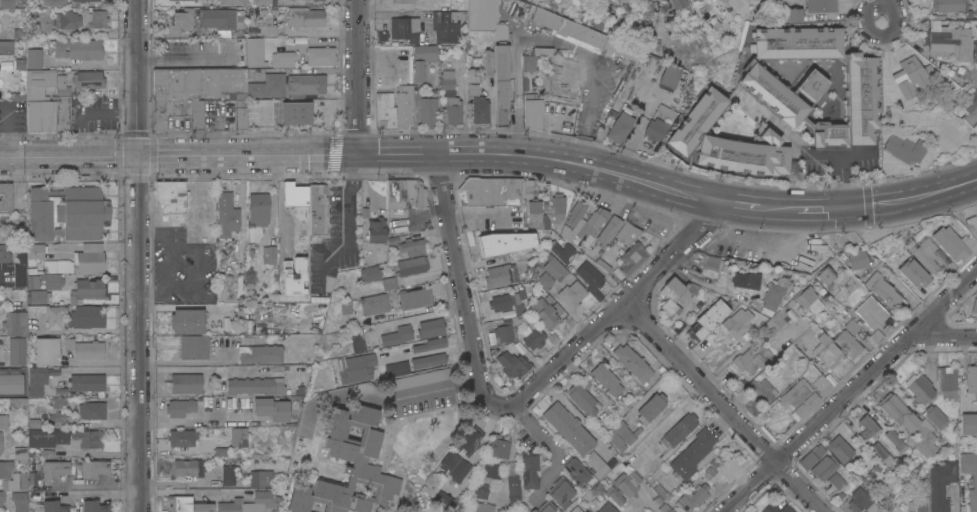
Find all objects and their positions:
building: (83, 0)
building: (188, 0)
building: (692, 0)
building: (402, 1)
building: (430, 1)
building: (627, 1)
building: (50, 2)
building: (231, 2)
building: (264, 2)
building: (9, 3)
building: (599, 3)
building: (679, 3)
building: (821, 5)
building: (945, 5)
road: (881, 10)
building: (975, 10)
road: (391, 13)
building: (795, 15)
building: (305, 17)
building: (485, 17)
building: (98, 18)
building: (218, 18)
building: (66, 20)
building: (181, 20)
building: (445, 26)
building: (568, 27)
building: (405, 28)
road: (86, 32)
building: (947, 41)
building: (796, 42)
building: (6, 47)
building: (78, 49)
building: (915, 49)
building: (257, 52)
road: (184, 56)
building: (321, 56)
building: (535, 57)
building: (34, 58)
building: (283, 59)
building: (422, 59)
building: (489, 61)
building: (19, 63)
building: (908, 74)
building: (473, 75)
building: (669, 76)
road: (137, 78)
road: (359, 78)
building: (89, 79)
building: (447, 79)
building: (544, 80)
building: (501, 82)
building: (198, 83)
building: (306, 84)
building: (528, 84)
building: (809, 84)
building: (268, 86)
building: (770, 94)
building: (18, 96)
building: (618, 98)
building: (47, 103)
building: (403, 105)
building: (478, 105)
road: (885, 105)
building: (851, 106)
building: (427, 109)
building: (451, 109)
building: (968, 109)
building: (384, 110)
building: (170, 111)
building: (532, 111)
building: (294, 113)
building: (197, 114)
building: (241, 114)
building: (620, 127)
building: (655, 129)
building: (725, 141)
building: (903, 149)
road: (857, 153)
road: (824, 154)
road: (433, 155)
road: (68, 158)
traffic signals: (137, 158)
road: (842, 181)
building: (528, 188)
building: (490, 191)
building: (295, 193)
building: (404, 195)
building: (5, 196)
road: (917, 197)
building: (172, 199)
road: (741, 205)
building: (557, 206)
road: (348, 207)
building: (259, 208)
road: (778, 208)
road: (850, 208)
traffic signals: (856, 208)
building: (318, 209)
road: (821, 209)
building: (576, 212)
building: (68, 213)
building: (537, 215)
building: (229, 216)
building: (592, 222)
building: (395, 225)
building: (570, 231)
building: (608, 231)
building: (627, 232)
building: (376, 234)
building: (505, 242)
building: (955, 243)
road: (119, 245)
road: (90, 246)
road: (66, 247)
building: (90, 247)
building: (411, 248)
building: (561, 250)
building: (21, 252)
building: (35, 252)
building: (5, 253)
building: (925, 253)
building: (269, 254)
building: (632, 257)
building: (856, 259)
building: (706, 260)
building: (88, 262)
road: (200, 263)
building: (412, 265)
building: (58, 266)
building: (554, 267)
road: (169, 270)
building: (533, 270)
building: (370, 273)
building: (913, 273)
building: (500, 275)
building: (825, 276)
building: (21, 279)
building: (293, 279)
building: (590, 279)
building: (744, 279)
building: (52, 280)
building: (544, 280)
building: (32, 282)
building: (388, 283)
road: (461, 285)
building: (89, 288)
building: (883, 289)
building: (571, 293)
building: (675, 294)
building: (39, 296)
building: (804, 296)
building: (415, 298)
building: (769, 298)
building: (501, 302)
building: (374, 304)
building: (515, 304)
building: (974, 305)
building: (546, 311)
road: (616, 312)
building: (870, 312)
building: (86, 317)
road: (414, 318)
building: (13, 319)
building: (706, 319)
building: (774, 320)
building: (187, 321)
building: (736, 323)
building: (851, 326)
building: (430, 328)
building: (503, 333)
road: (138, 334)
building: (397, 335)
building: (534, 337)
road: (947, 337)
building: (357, 339)
building: (847, 343)
building: (430, 344)
building: (194, 346)
building: (85, 348)
building: (17, 351)
building: (46, 351)
building: (824, 352)
building: (260, 353)
building: (754, 355)
building: (428, 360)
road: (185, 361)
building: (514, 361)
building: (633, 363)
building: (358, 368)
building: (397, 368)
road: (94, 370)
building: (419, 379)
building: (606, 379)
building: (37, 380)
building: (946, 380)
building: (87, 382)
building: (190, 382)
building: (11, 383)
building: (258, 383)
building: (820, 385)
road: (425, 387)
building: (920, 388)
building: (968, 388)
building: (762, 389)
road: (850, 392)
building: (795, 393)
building: (583, 396)
building: (218, 403)
building: (207, 404)
building: (805, 405)
road: (723, 406)
building: (180, 407)
building: (271, 408)
building: (650, 408)
building: (91, 410)
building: (934, 415)
building: (3, 421)
building: (910, 423)
building: (968, 424)
building: (868, 426)
building: (568, 428)
building: (678, 431)
building: (239, 434)
building: (621, 435)
building: (68, 437)
building: (181, 438)
building: (894, 438)
building: (470, 440)
building: (0, 441)
road: (549, 445)
building: (499, 446)
building: (1, 447)
building: (840, 448)
building: (220, 452)
building: (692, 453)
building: (881, 453)
building: (21, 454)
building: (633, 456)
building: (811, 456)
building: (350, 457)
building: (595, 464)
building: (454, 466)
building: (186, 467)
building: (824, 467)
building: (55, 469)
building: (94, 469)
building: (528, 469)
building: (491, 470)
building: (575, 471)
building: (228, 475)
building: (12, 477)
building: (260, 478)
building: (836, 480)
building: (975, 481)
building: (942, 484)
building: (623, 486)
road: (191, 490)
building: (479, 490)
building: (513, 490)
building: (561, 490)
building: (659, 490)
road: (100, 495)
building: (2, 497)
building: (693, 497)
building: (658, 500)
building: (19, 501)
building: (861, 502)
building: (249, 503)
building: (187, 504)
building: (94, 506)
building: (917, 506)
building: (52, 507)
building: (477, 507)
building: (544, 507)
building: (607, 508)
building: (627, 508)
building: (665, 508)
building: (777, 508)

